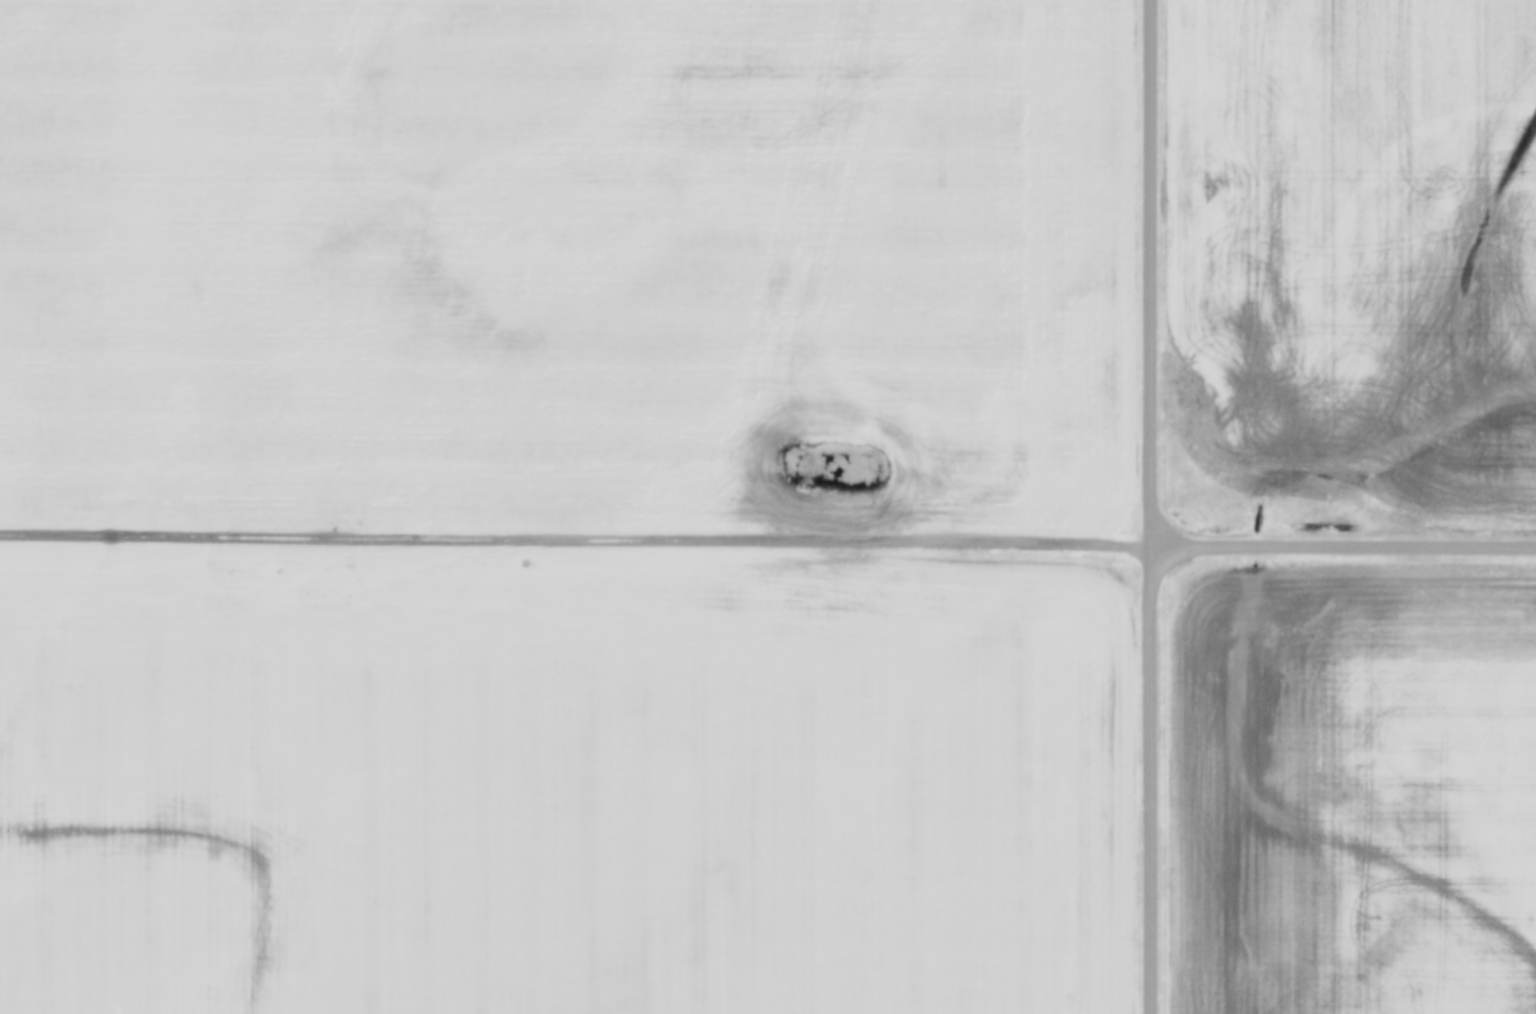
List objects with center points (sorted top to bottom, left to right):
road: (1157, 507)
road: (578, 536)
road: (1346, 542)

